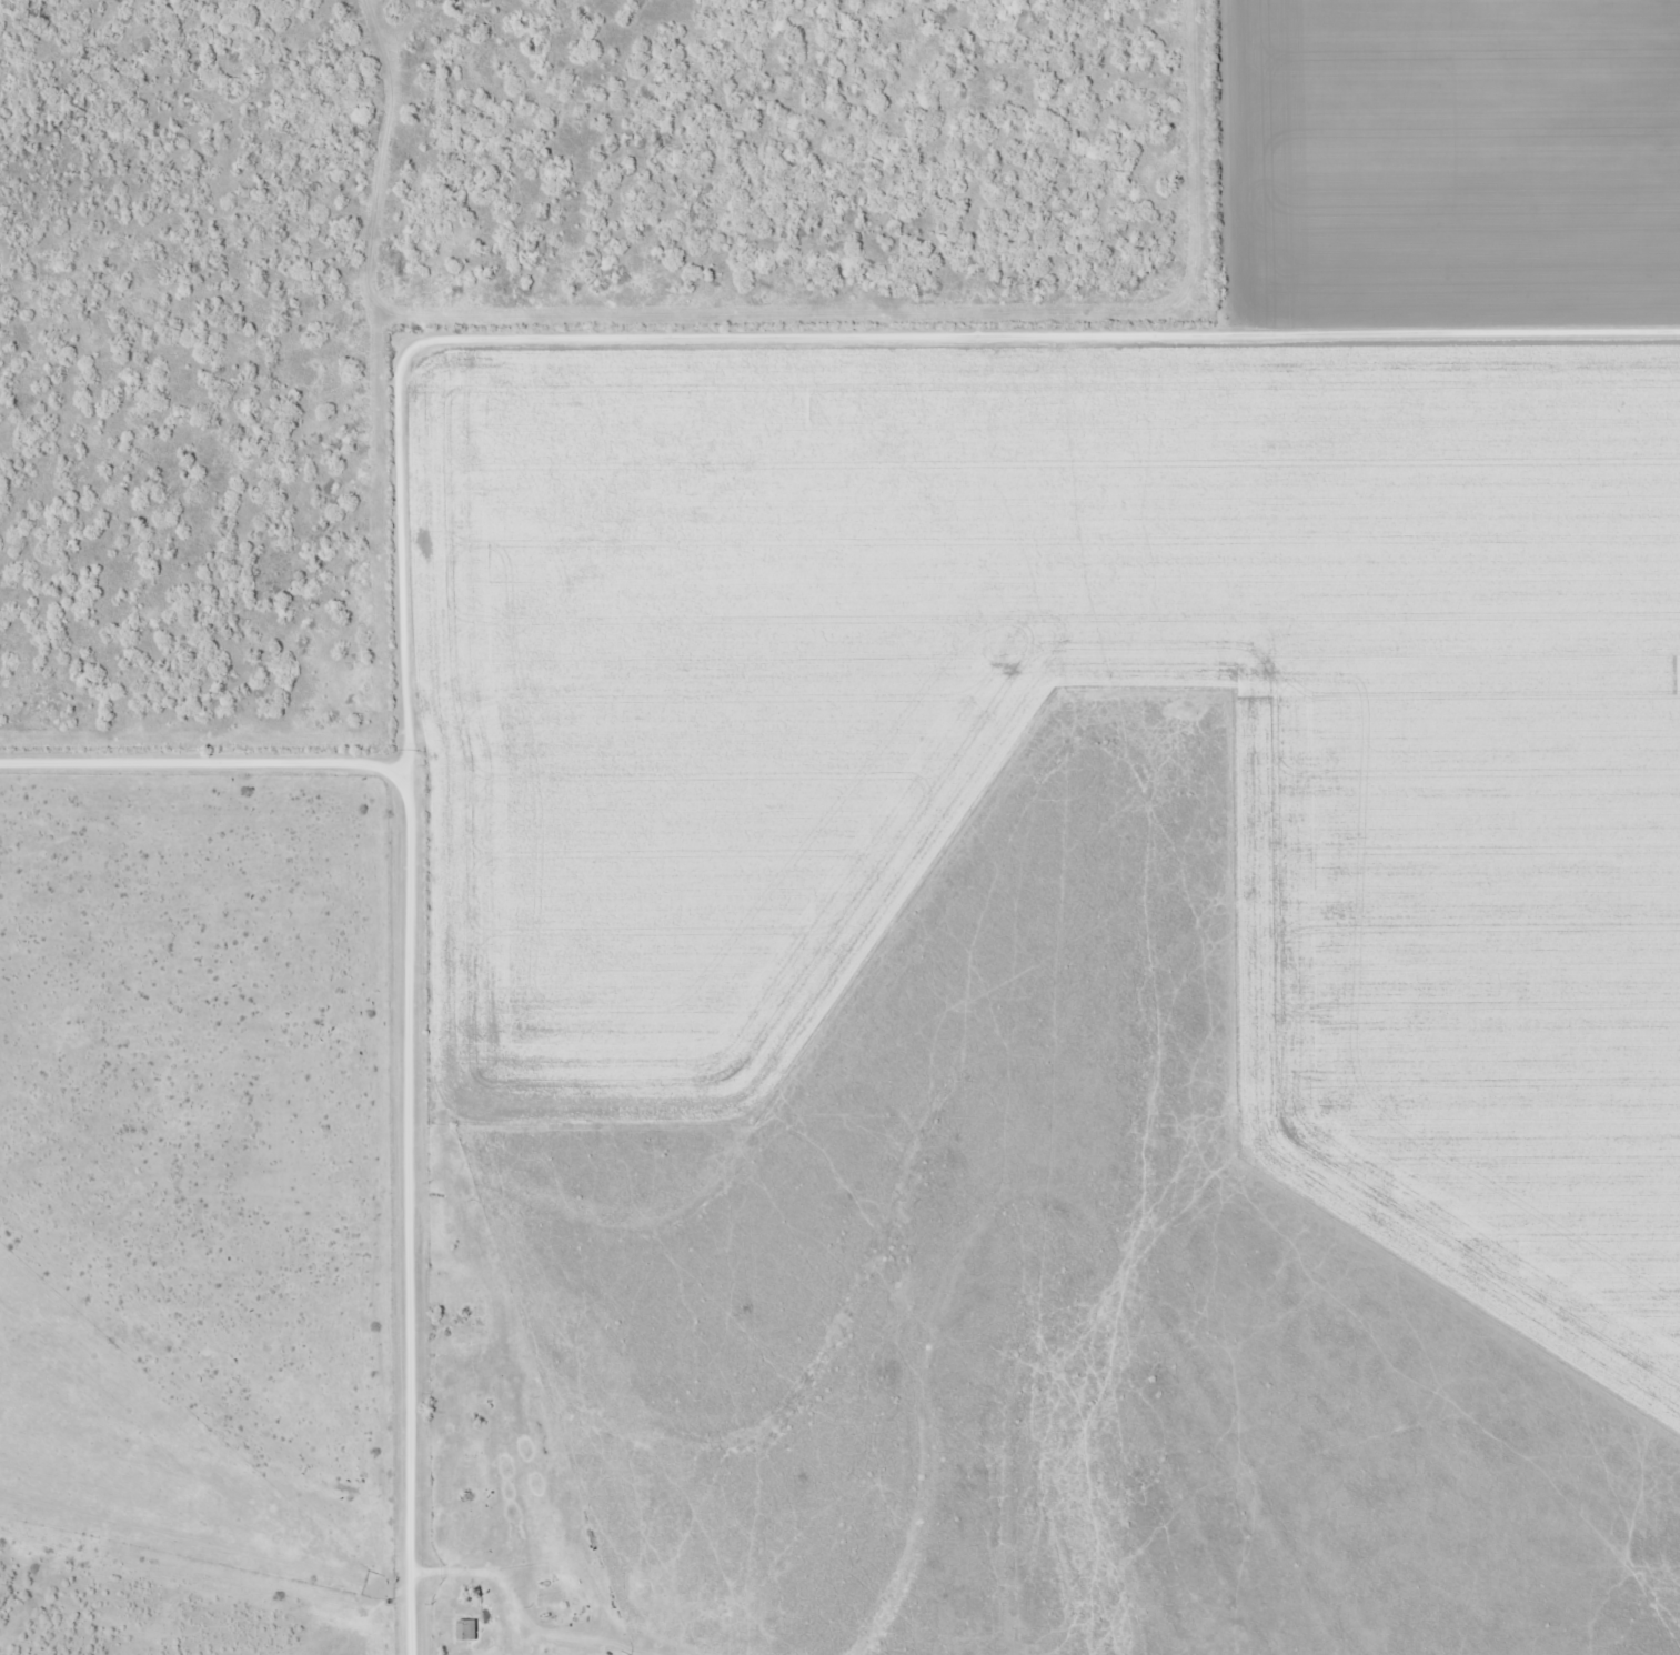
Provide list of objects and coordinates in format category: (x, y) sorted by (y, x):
road: (829, 333)
road: (200, 766)
road: (404, 1211)
building: (553, 1615)
building: (469, 1631)

